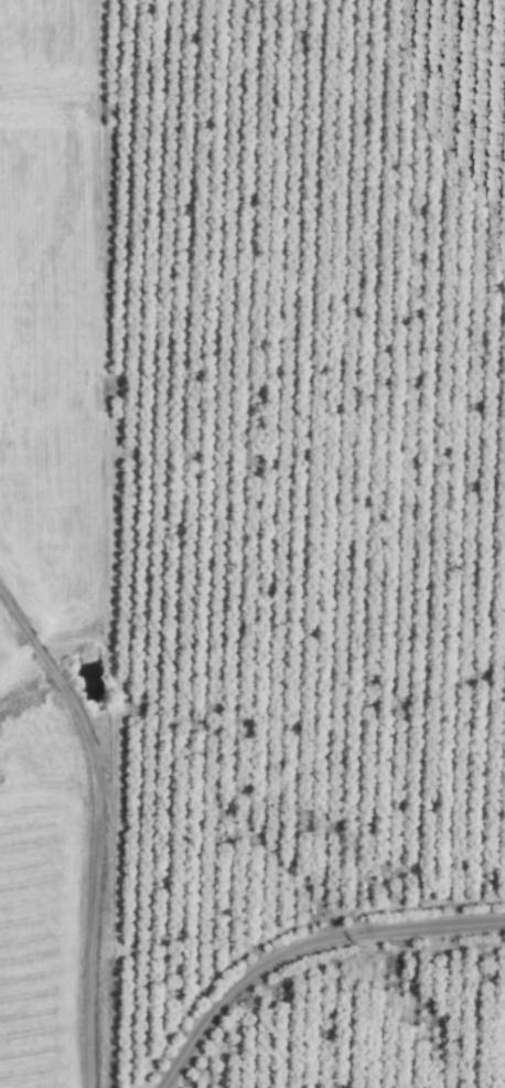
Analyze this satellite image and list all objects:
road: (96, 826)
road: (304, 942)

